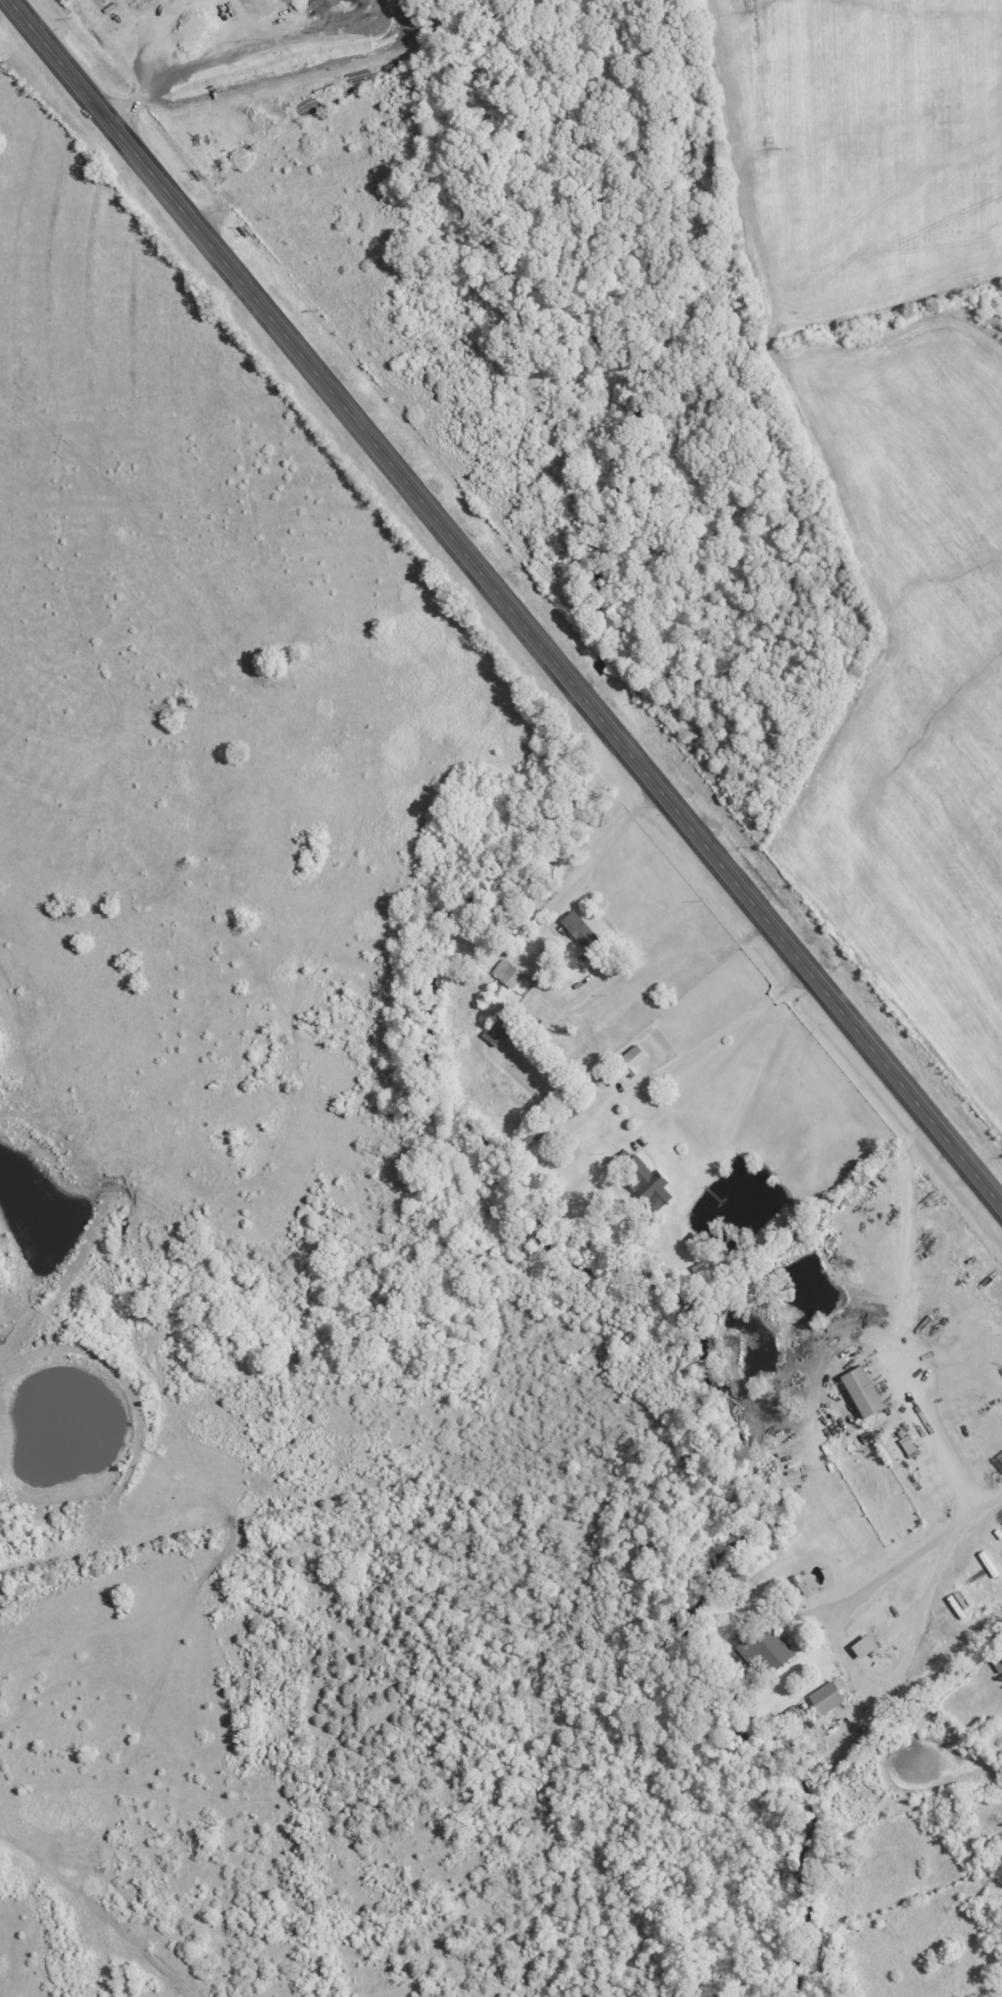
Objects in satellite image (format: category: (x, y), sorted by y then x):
road: (505, 603)
building: (581, 931)
building: (507, 974)
building: (499, 1030)
building: (625, 1066)
building: (649, 1182)
building: (864, 1392)
road: (918, 1553)
building: (866, 1647)
building: (765, 1648)
building: (829, 1697)

